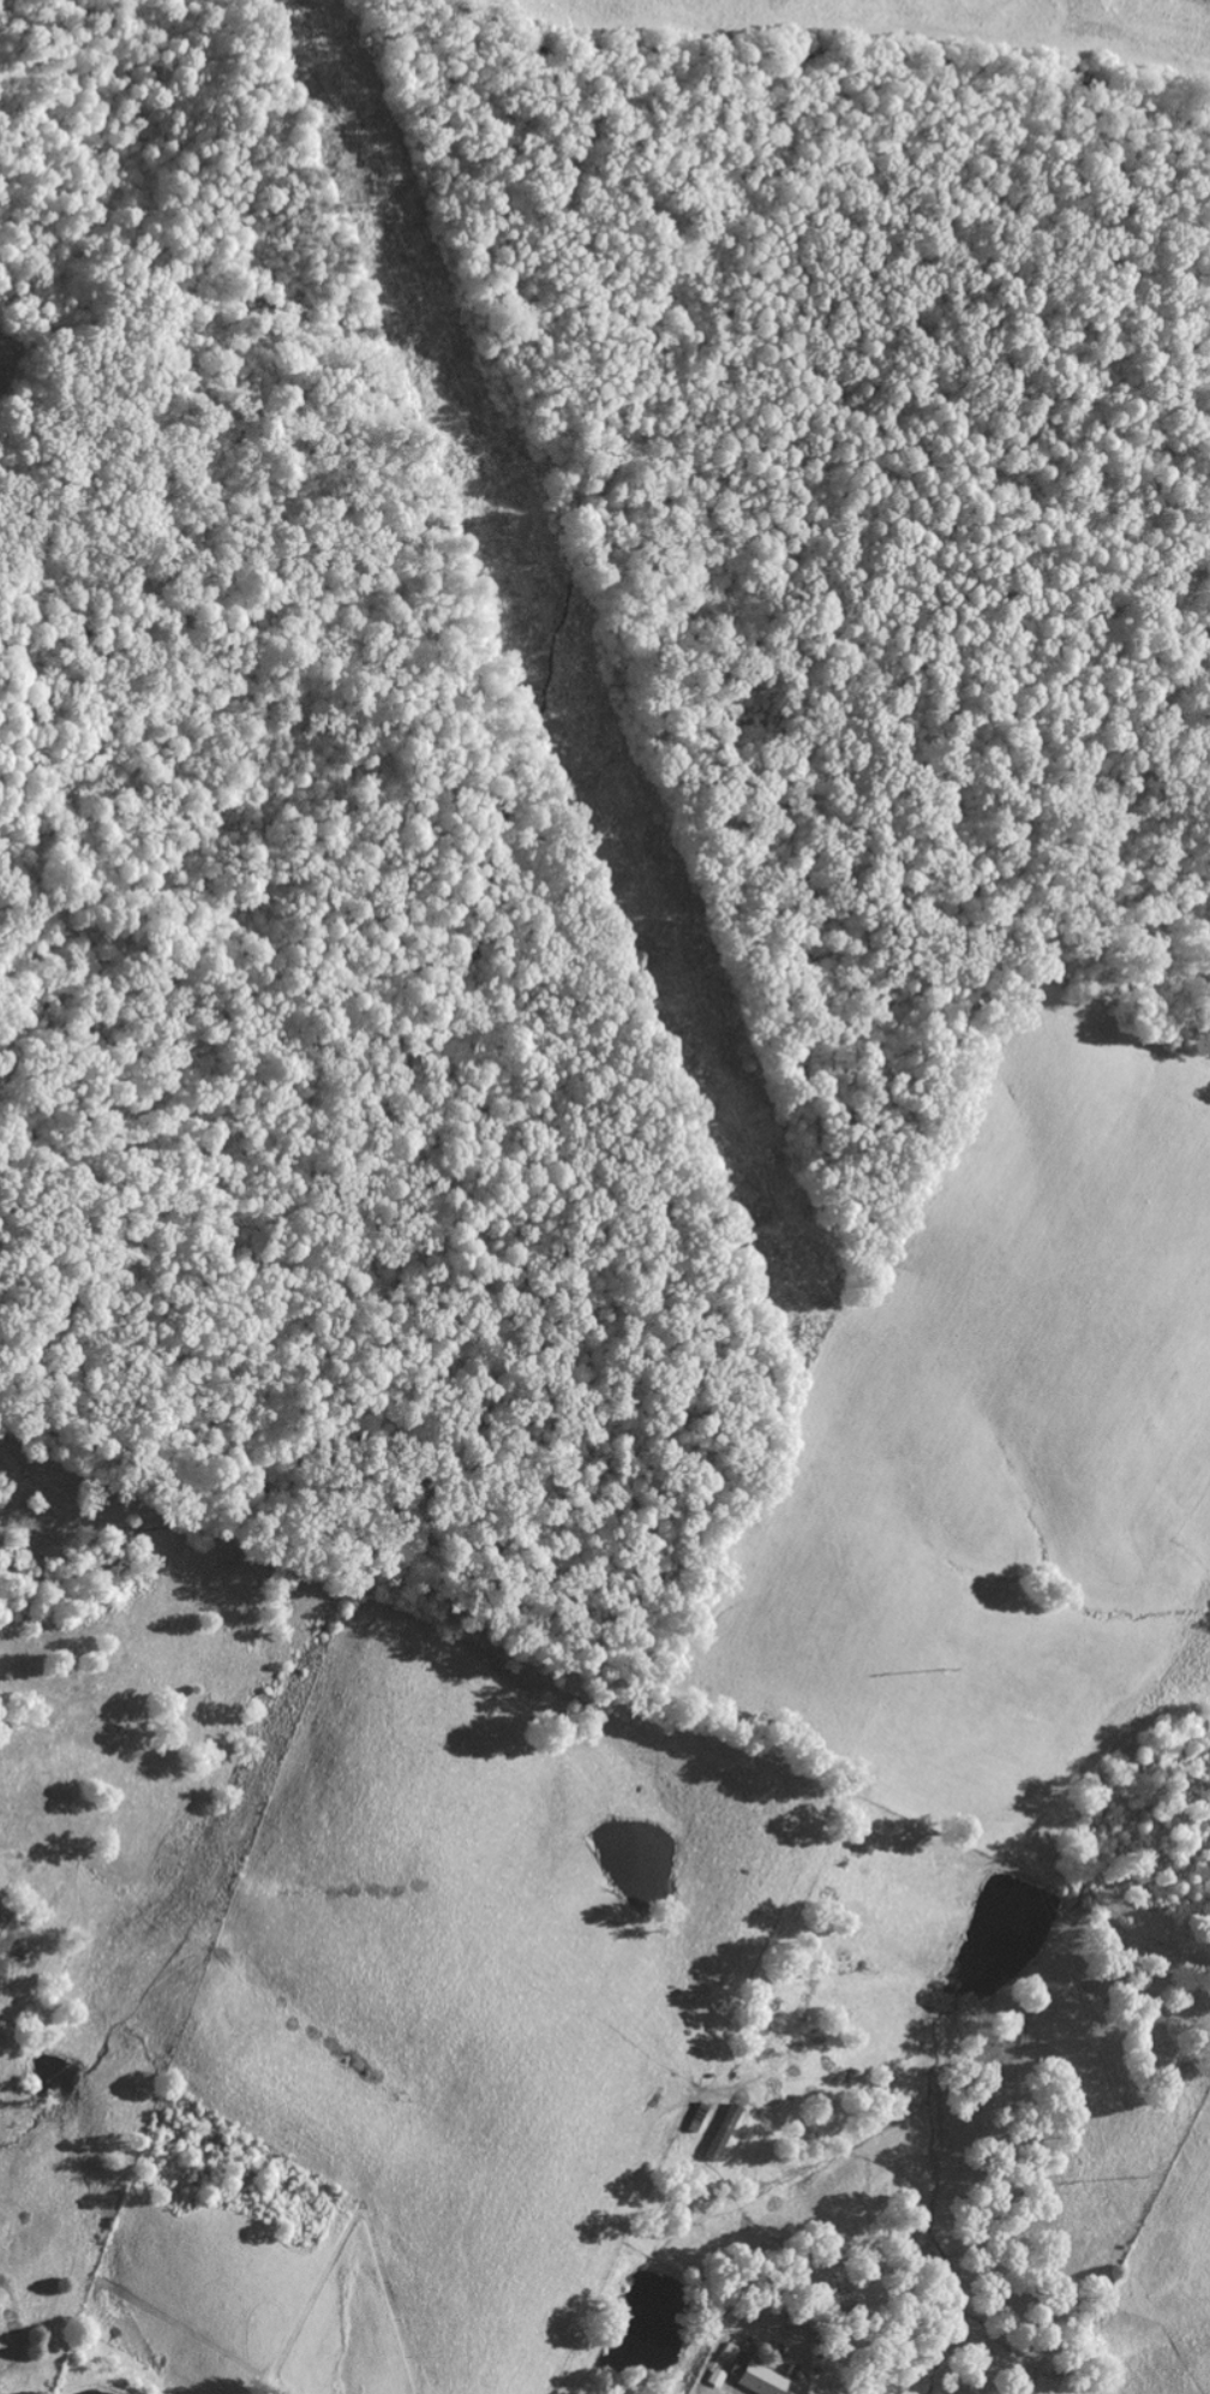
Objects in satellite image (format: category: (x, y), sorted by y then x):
building: (695, 2113)
building: (720, 2129)
building: (804, 2285)
building: (714, 2375)
building: (760, 2376)

